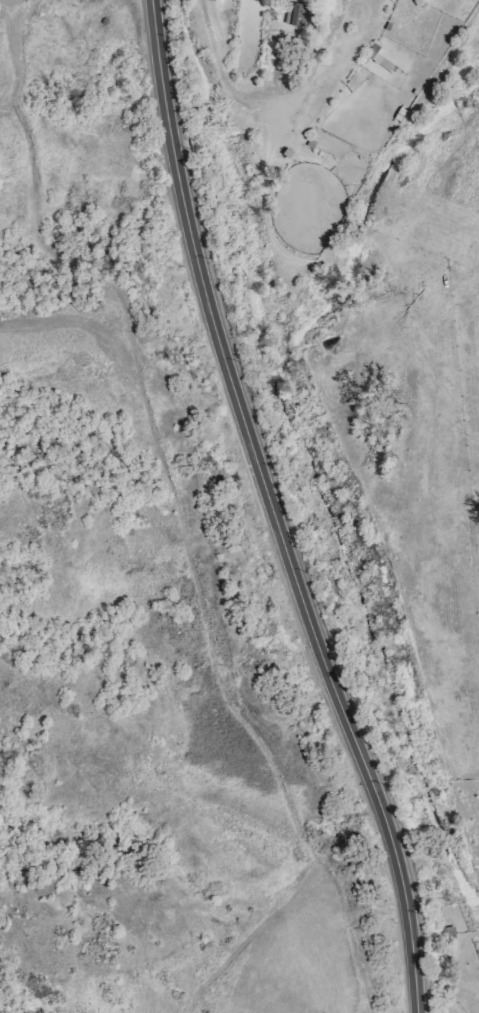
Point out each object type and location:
building: (298, 13)
road: (336, 18)
road: (358, 28)
building: (304, 44)
road: (245, 97)
road: (274, 510)

